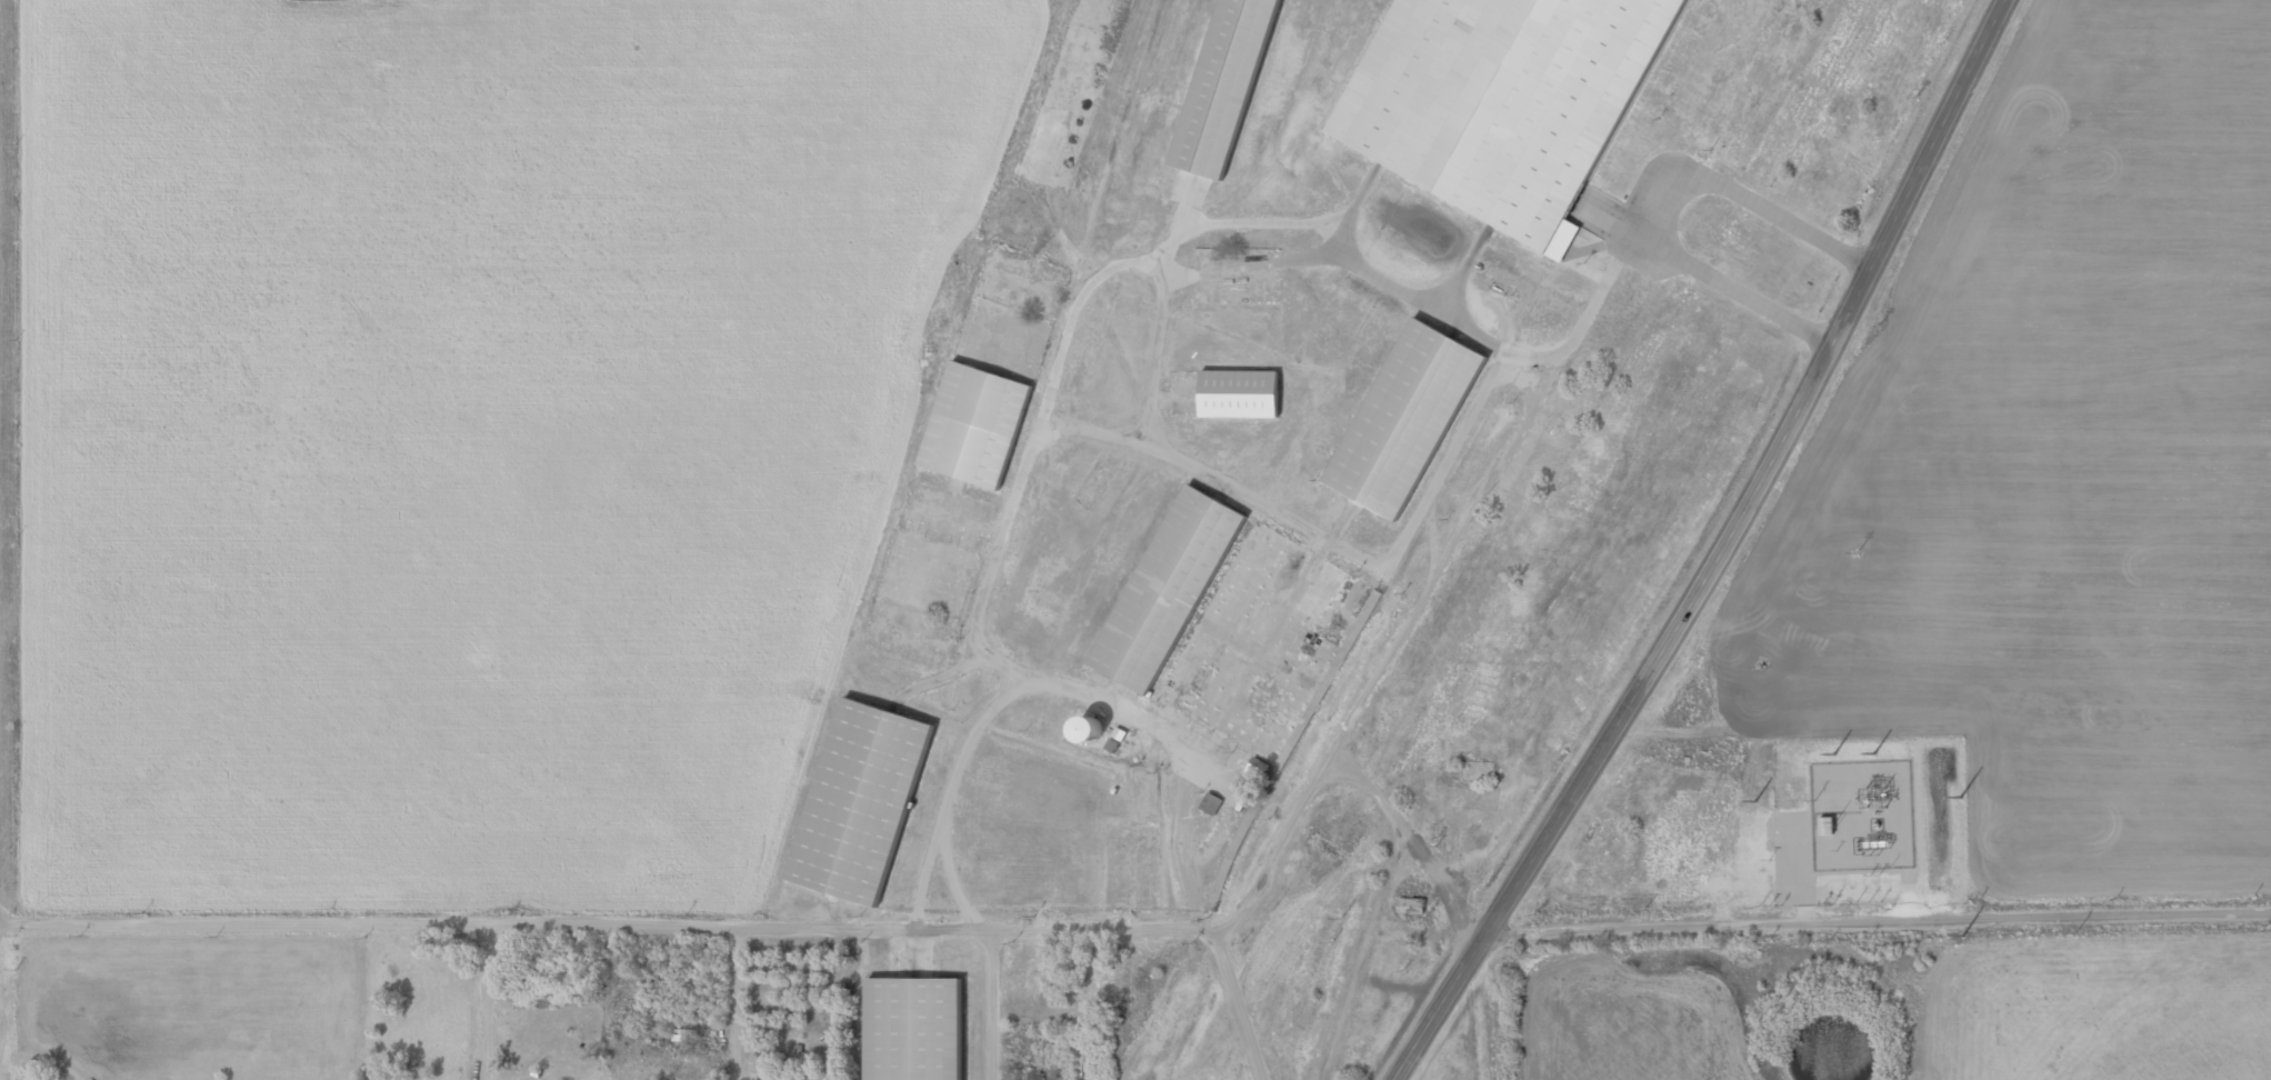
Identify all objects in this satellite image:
building: (1225, 87)
building: (1511, 100)
building: (1239, 392)
building: (1405, 417)
building: (974, 423)
road: (1764, 474)
building: (1234, 624)
building: (1101, 729)
building: (860, 800)
power substation: (1802, 850)
building: (1410, 904)
road: (493, 924)
road: (1877, 932)
road: (480, 1002)
road: (729, 1003)
road: (988, 1004)
road: (1437, 1006)
building: (912, 1029)
building: (36, 1077)

